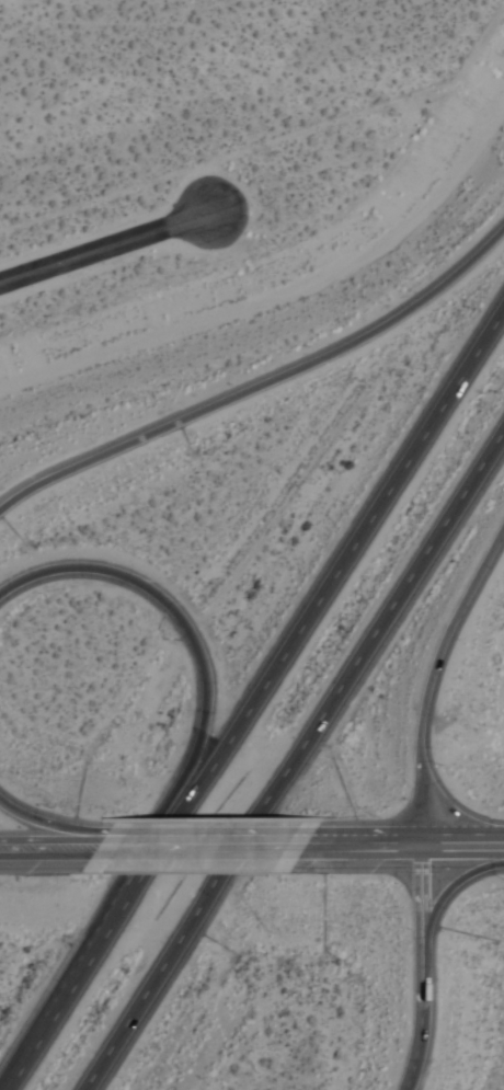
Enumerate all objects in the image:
crop: (216, 169)
road: (104, 248)
road: (262, 382)
road: (311, 611)
road: (203, 672)
road: (427, 676)
road: (293, 758)
road: (46, 825)
road: (105, 846)
road: (459, 846)
road: (198, 847)
road: (348, 847)
road: (57, 848)
road: (437, 908)
road: (416, 968)
road: (62, 1002)

